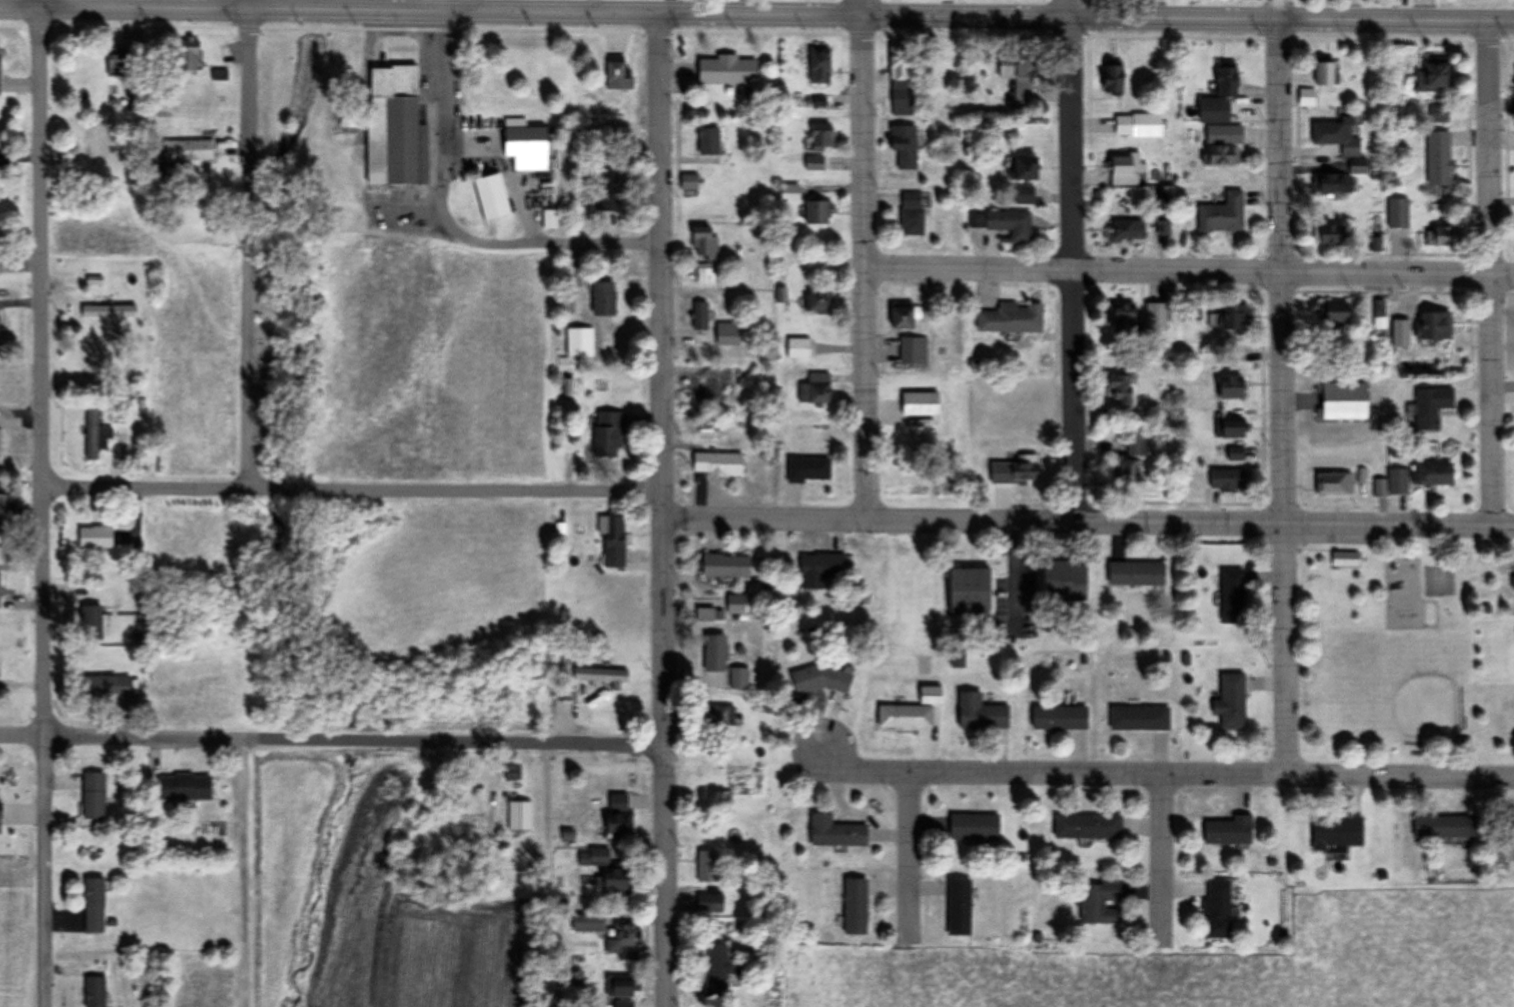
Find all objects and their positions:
road: (39, 5)
road: (248, 5)
road: (863, 8)
road: (1072, 10)
road: (1284, 11)
road: (757, 14)
building: (188, 54)
building: (118, 62)
building: (819, 66)
building: (726, 70)
building: (1326, 72)
building: (618, 73)
building: (1017, 74)
building: (1433, 75)
building: (1112, 76)
building: (1225, 79)
building: (901, 81)
building: (1213, 110)
road: (443, 112)
building: (1439, 113)
building: (1124, 125)
building: (395, 127)
building: (1337, 136)
building: (821, 137)
building: (708, 141)
building: (525, 144)
building: (1223, 145)
building: (904, 146)
building: (188, 150)
building: (1439, 158)
building: (814, 164)
building: (1358, 166)
building: (1022, 168)
building: (1125, 169)
building: (692, 182)
building: (1334, 183)
building: (607, 186)
building: (789, 192)
building: (1024, 195)
building: (491, 196)
building: (817, 211)
building: (1398, 212)
building: (913, 214)
building: (1222, 215)
building: (550, 219)
building: (1004, 223)
building: (1127, 232)
building: (1330, 234)
building: (1443, 235)
building: (706, 242)
road: (543, 244)
road: (251, 250)
road: (864, 268)
road: (1188, 270)
road: (1073, 271)
building: (706, 272)
road: (1493, 275)
building: (603, 298)
building: (817, 301)
building: (108, 312)
building: (1336, 312)
building: (902, 315)
building: (700, 316)
building: (1238, 317)
building: (1011, 318)
building: (1156, 318)
building: (1123, 319)
building: (1434, 325)
building: (728, 334)
building: (580, 342)
building: (798, 348)
building: (913, 351)
building: (92, 359)
building: (704, 384)
building: (935, 387)
building: (1120, 389)
building: (1230, 389)
building: (815, 390)
road: (1284, 398)
building: (1430, 407)
building: (1350, 416)
building: (1233, 428)
building: (96, 434)
building: (609, 436)
building: (1136, 447)
building: (1235, 455)
building: (718, 464)
building: (808, 470)
building: (1126, 471)
building: (1023, 472)
building: (1433, 474)
building: (1228, 481)
building: (1397, 483)
building: (1333, 484)
road: (353, 490)
road: (43, 508)
road: (664, 509)
building: (7, 514)
road: (1089, 522)
building: (95, 537)
building: (612, 540)
building: (1345, 560)
building: (726, 566)
building: (822, 567)
building: (1136, 574)
building: (1065, 581)
building: (1440, 583)
building: (1513, 584)
building: (0, 591)
building: (969, 591)
building: (1232, 596)
building: (736, 605)
building: (90, 623)
building: (715, 654)
building: (601, 675)
building: (818, 680)
building: (105, 687)
building: (1231, 702)
building: (980, 713)
building: (716, 716)
building: (905, 717)
building: (1059, 718)
building: (1139, 719)
road: (22, 735)
road: (355, 741)
building: (512, 772)
road: (1168, 775)
building: (183, 788)
building: (92, 796)
building: (619, 814)
building: (520, 816)
building: (1088, 827)
building: (1445, 827)
building: (974, 828)
building: (1228, 831)
building: (836, 833)
building: (1336, 834)
building: (468, 835)
road: (909, 856)
road: (1162, 856)
building: (599, 857)
building: (709, 866)
building: (617, 880)
building: (1100, 902)
building: (710, 904)
building: (93, 906)
building: (855, 906)
building: (959, 907)
building: (1217, 910)
building: (588, 924)
building: (622, 941)
building: (720, 972)
building: (94, 991)
building: (622, 992)

